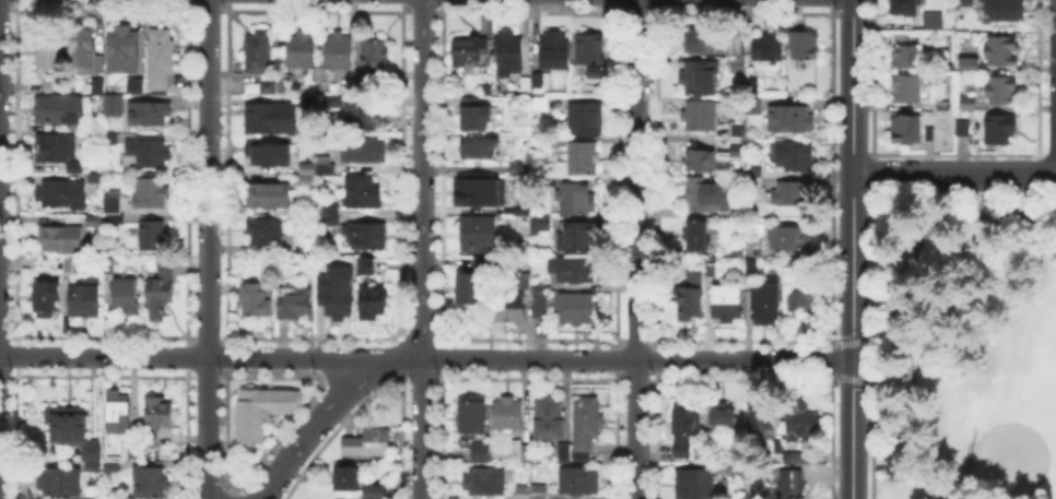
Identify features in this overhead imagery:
building: (965, 2)
building: (904, 8)
building: (1004, 11)
building: (930, 17)
building: (700, 40)
building: (803, 46)
building: (83, 48)
building: (469, 48)
building: (767, 49)
building: (122, 50)
building: (303, 50)
building: (554, 50)
building: (259, 52)
building: (1002, 52)
building: (338, 54)
building: (509, 54)
building: (591, 56)
building: (737, 56)
building: (905, 56)
building: (48, 57)
building: (161, 59)
building: (375, 59)
building: (965, 62)
building: (700, 79)
building: (541, 80)
building: (527, 81)
building: (56, 84)
building: (98, 84)
building: (136, 87)
building: (275, 87)
building: (753, 87)
building: (906, 91)
building: (997, 91)
building: (305, 102)
building: (966, 104)
building: (113, 106)
building: (540, 106)
building: (942, 106)
building: (59, 112)
building: (149, 114)
building: (476, 116)
building: (702, 116)
building: (270, 119)
building: (366, 120)
building: (586, 120)
building: (791, 120)
building: (963, 127)
building: (1000, 130)
building: (737, 131)
building: (906, 131)
building: (930, 136)
building: (113, 138)
building: (479, 148)
building: (365, 151)
building: (59, 152)
building: (270, 153)
building: (737, 153)
building: (146, 154)
building: (799, 158)
building: (580, 159)
building: (699, 162)
building: (326, 164)
building: (307, 166)
road: (954, 175)
road: (422, 179)
building: (758, 179)
building: (96, 180)
road: (853, 180)
building: (308, 181)
building: (151, 193)
building: (363, 194)
building: (484, 194)
building: (793, 194)
building: (62, 195)
building: (708, 197)
building: (267, 198)
building: (574, 199)
building: (516, 205)
building: (113, 209)
building: (329, 216)
building: (95, 222)
building: (547, 225)
building: (263, 231)
building: (478, 234)
building: (153, 236)
building: (366, 236)
building: (697, 236)
building: (575, 237)
building: (790, 239)
building: (60, 240)
building: (751, 247)
road: (207, 249)
road: (635, 249)
building: (481, 263)
building: (108, 264)
building: (795, 264)
building: (321, 266)
building: (367, 266)
building: (750, 266)
building: (70, 268)
building: (574, 270)
building: (711, 270)
building: (523, 282)
building: (161, 289)
building: (468, 289)
building: (690, 295)
road: (896, 295)
building: (542, 296)
building: (126, 297)
building: (340, 298)
building: (765, 299)
building: (85, 300)
building: (46, 301)
building: (254, 301)
building: (295, 304)
building: (374, 304)
building: (729, 306)
building: (801, 307)
building: (576, 309)
building: (511, 310)
road: (882, 335)
road: (863, 341)
park: (964, 349)
road: (181, 356)
road: (392, 358)
road: (637, 358)
road: (859, 380)
road: (887, 383)
park: (1017, 391)
building: (265, 411)
building: (119, 412)
building: (159, 413)
building: (507, 415)
building: (473, 417)
building: (724, 418)
building: (550, 419)
building: (761, 420)
building: (802, 420)
building: (587, 423)
road: (309, 428)
road: (421, 428)
road: (852, 429)
building: (72, 431)
building: (684, 432)
building: (367, 444)
building: (777, 448)
building: (129, 452)
building: (479, 452)
building: (519, 452)
building: (564, 453)
building: (796, 459)
building: (113, 467)
building: (92, 468)
building: (736, 475)
building: (579, 482)
building: (59, 483)
building: (348, 483)
building: (484, 483)
building: (150, 484)
building: (695, 485)
building: (791, 485)
building: (375, 492)
building: (521, 492)
building: (540, 494)
building: (109, 498)

